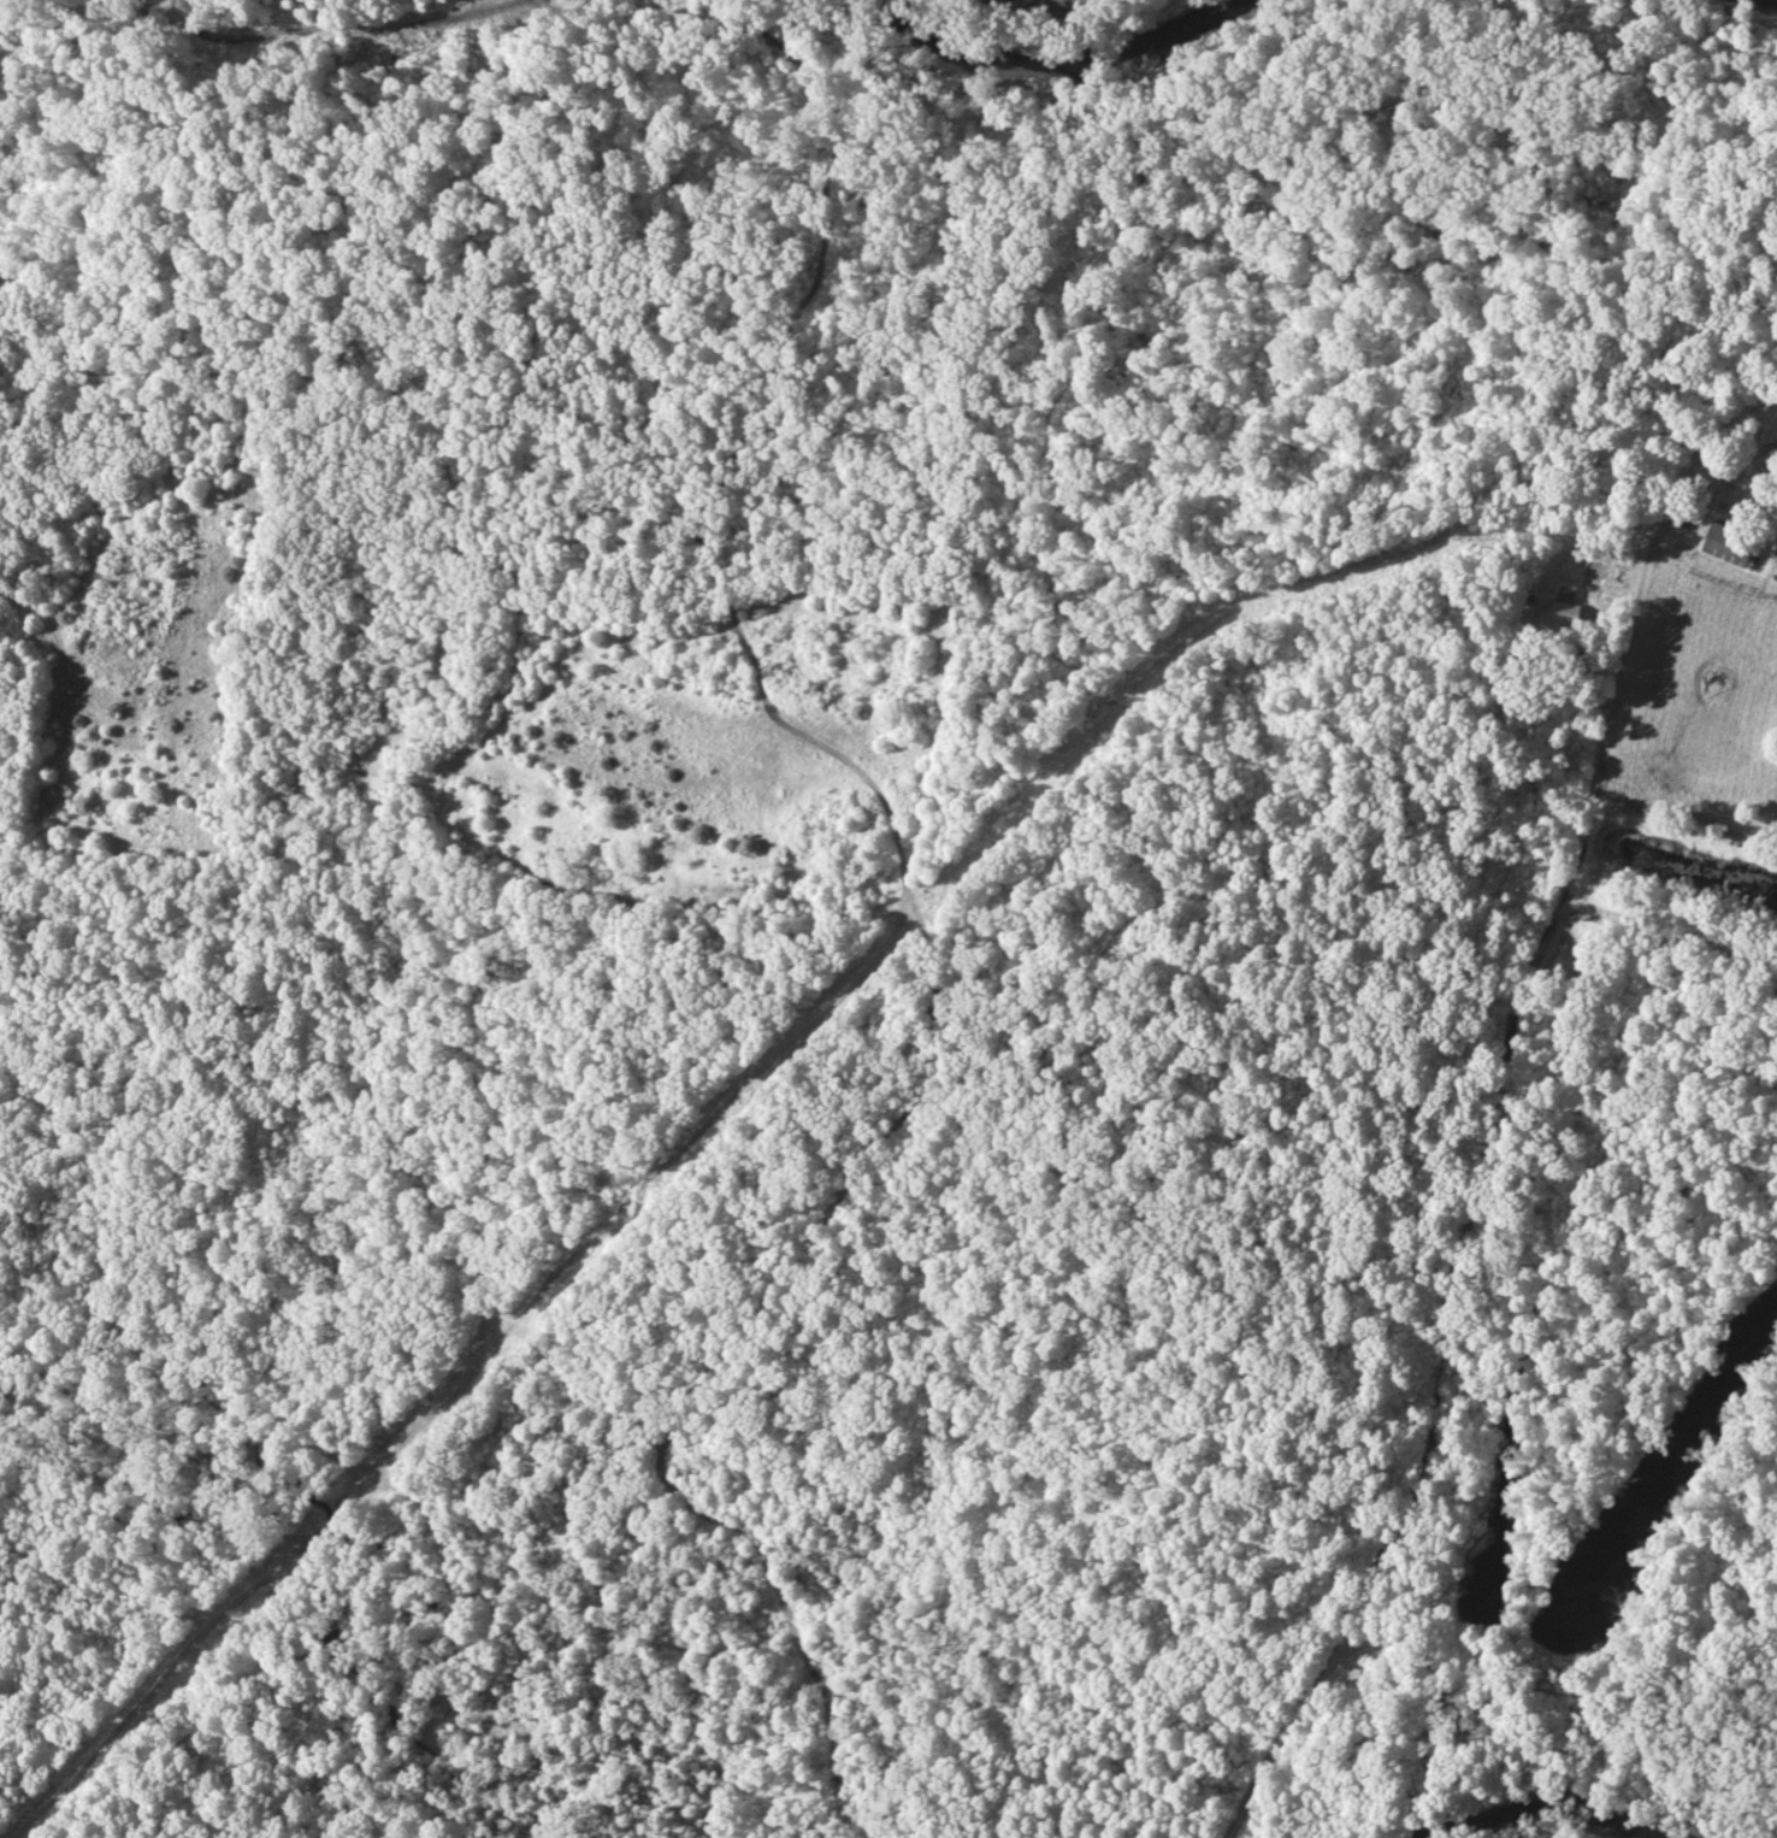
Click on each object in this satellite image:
river: (1056, 61)
building: (1730, 546)
river: (1553, 1807)

